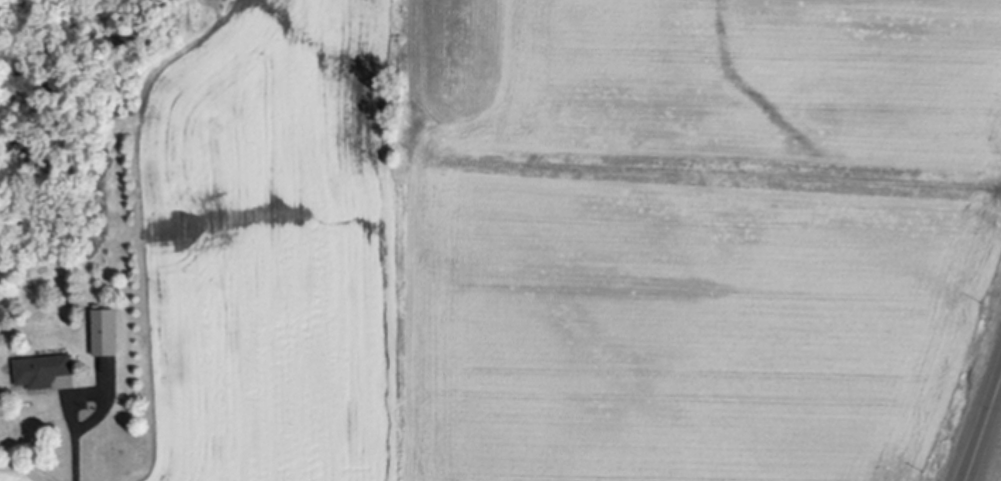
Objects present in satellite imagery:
quarry: (700, 240)
building: (105, 338)
building: (42, 375)
road: (983, 431)
road: (76, 442)

